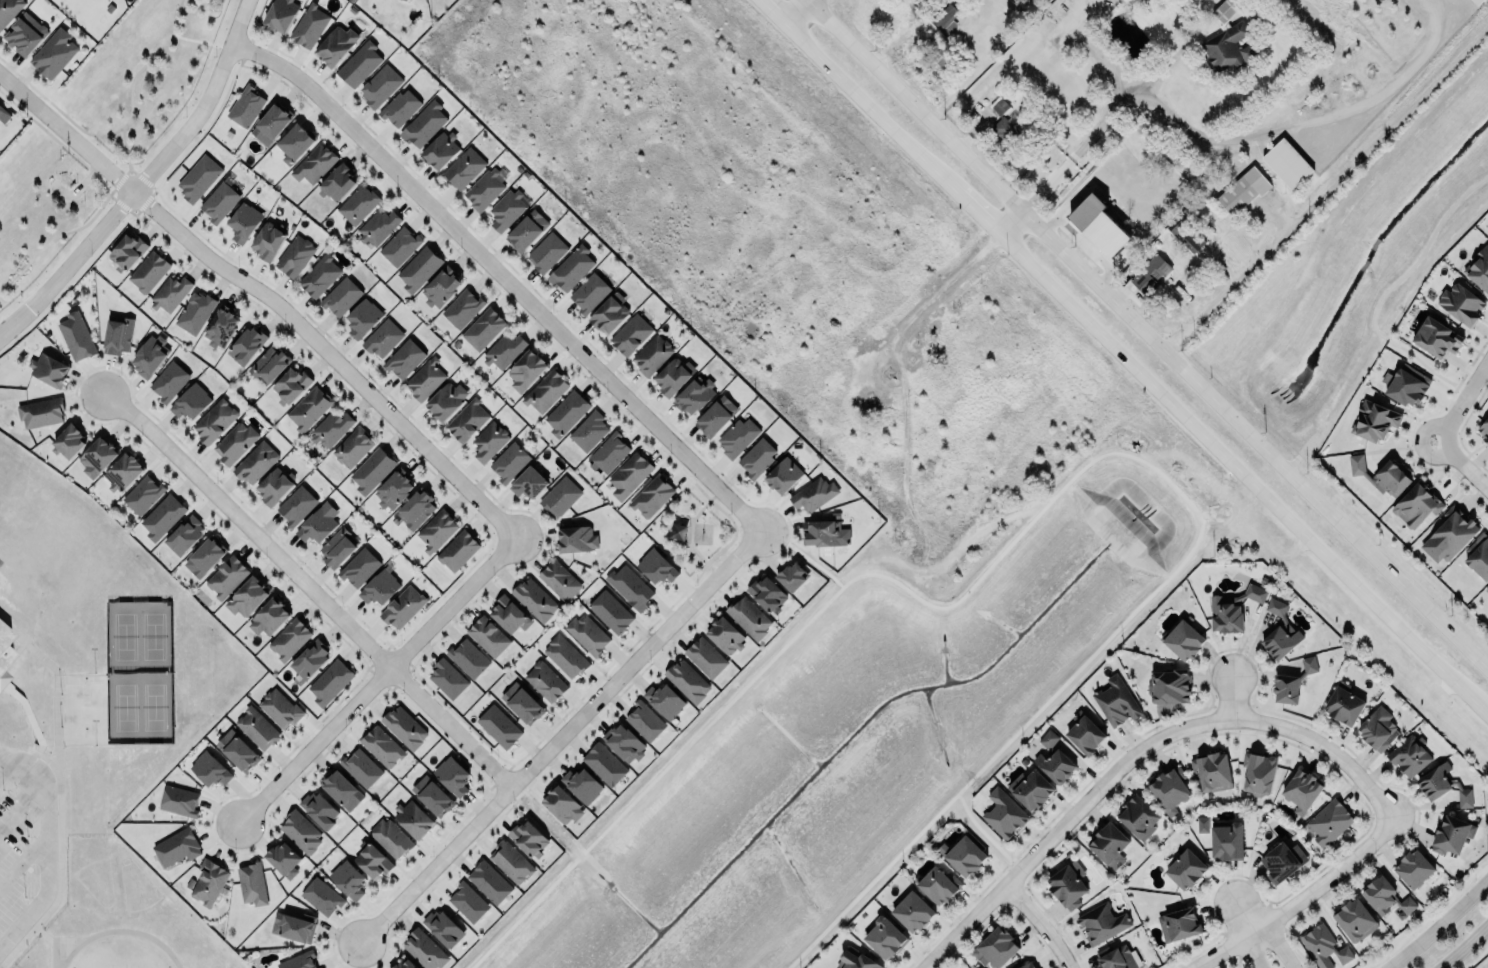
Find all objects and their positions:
building: (1476, 2)
building: (9, 10)
building: (1225, 10)
road: (799, 12)
building: (280, 14)
building: (945, 17)
building: (310, 24)
building: (26, 33)
building: (1224, 45)
building: (337, 46)
road: (1098, 50)
building: (55, 52)
road: (1178, 52)
building: (941, 55)
building: (359, 64)
building: (380, 86)
building: (246, 106)
building: (400, 107)
building: (999, 107)
building: (1, 108)
building: (273, 124)
building: (424, 124)
building: (1007, 131)
building: (296, 142)
road: (1220, 146)
building: (441, 149)
building: (314, 164)
building: (1287, 164)
building: (465, 168)
building: (198, 178)
road: (143, 179)
building: (338, 183)
road: (1324, 187)
building: (485, 189)
building: (1242, 191)
building: (220, 201)
building: (359, 204)
building: (507, 209)
building: (244, 221)
building: (378, 226)
building: (1097, 226)
building: (527, 230)
building: (1187, 236)
building: (268, 240)
building: (399, 246)
building: (128, 251)
building: (547, 252)
building: (295, 256)
building: (420, 268)
building: (572, 268)
building: (1481, 269)
building: (148, 272)
building: (320, 275)
building: (1150, 276)
road: (501, 277)
building: (441, 288)
building: (590, 292)
building: (171, 293)
road: (266, 297)
building: (341, 297)
building: (1462, 304)
building: (462, 308)
building: (196, 312)
building: (610, 312)
building: (363, 318)
building: (221, 328)
building: (484, 328)
building: (119, 334)
building: (632, 334)
road: (1145, 335)
building: (77, 336)
building: (383, 338)
building: (1437, 338)
building: (247, 345)
road: (1109, 350)
building: (504, 351)
building: (653, 355)
building: (150, 356)
building: (404, 359)
building: (269, 365)
building: (49, 368)
building: (527, 369)
building: (675, 375)
building: (425, 378)
building: (170, 381)
building: (1406, 384)
building: (290, 385)
building: (546, 391)
building: (696, 395)
road: (1459, 399)
building: (447, 400)
building: (191, 401)
building: (309, 409)
building: (41, 412)
building: (567, 413)
building: (717, 416)
building: (215, 420)
building: (468, 420)
building: (1375, 421)
building: (1484, 426)
building: (330, 429)
building: (590, 430)
building: (738, 436)
building: (1487, 440)
building: (490, 441)
building: (69, 442)
building: (235, 443)
building: (353, 448)
building: (609, 454)
building: (97, 457)
building: (758, 457)
building: (510, 461)
building: (256, 462)
road: (1459, 466)
building: (373, 470)
building: (122, 472)
building: (630, 475)
building: (784, 475)
building: (1380, 475)
building: (529, 482)
building: (275, 486)
building: (394, 489)
building: (143, 494)
building: (814, 494)
building: (652, 496)
building: (560, 497)
building: (1417, 504)
building: (297, 505)
building: (416, 509)
building: (163, 516)
building: (318, 523)
building: (437, 530)
road: (692, 530)
park: (696, 530)
road: (735, 531)
building: (824, 533)
building: (184, 535)
building: (1449, 536)
building: (577, 539)
building: (338, 547)
building: (459, 550)
building: (1479, 556)
building: (205, 557)
building: (658, 566)
building: (359, 567)
building: (228, 577)
building: (793, 577)
building: (560, 580)
road: (307, 585)
building: (380, 587)
building: (630, 587)
building: (1486, 589)
building: (768, 594)
building: (247, 596)
building: (535, 599)
building: (403, 607)
building: (1276, 607)
building: (1233, 609)
building: (612, 612)
building: (510, 614)
building: (270, 617)
building: (751, 617)
building: (589, 634)
building: (489, 636)
building: (726, 636)
building: (290, 639)
building: (1184, 640)
building: (1281, 640)
building: (4, 653)
building: (567, 656)
building: (707, 657)
building: (469, 658)
building: (310, 661)
road: (376, 679)
building: (447, 679)
building: (330, 681)
building: (545, 681)
building: (687, 681)
building: (1293, 683)
building: (1170, 686)
road: (1232, 697)
building: (1118, 700)
building: (668, 701)
building: (522, 703)
road: (1476, 705)
building: (1344, 706)
building: (279, 708)
building: (645, 722)
building: (500, 726)
building: (404, 727)
building: (257, 728)
building: (1377, 729)
road: (557, 733)
building: (1086, 735)
building: (1049, 739)
building: (624, 743)
building: (383, 746)
building: (238, 750)
road: (1135, 752)
building: (1409, 754)
building: (606, 764)
building: (1057, 766)
building: (361, 768)
building: (210, 770)
building: (1213, 771)
building: (1259, 773)
building: (452, 775)
building: (582, 785)
building: (1031, 788)
building: (341, 790)
building: (1171, 790)
building: (1301, 791)
building: (432, 796)
building: (179, 801)
building: (563, 804)
building: (320, 809)
building: (1004, 814)
building: (1139, 817)
building: (413, 818)
building: (1328, 823)
building: (301, 831)
building: (1451, 834)
building: (391, 837)
building: (529, 838)
building: (1227, 841)
road: (51, 843)
building: (1109, 844)
building: (178, 847)
building: (964, 856)
building: (284, 859)
building: (373, 861)
building: (1283, 861)
building: (510, 862)
building: (1186, 869)
building: (1414, 869)
building: (347, 880)
building: (209, 882)
building: (490, 882)
road: (1222, 882)
building: (253, 884)
building: (939, 885)
building: (1069, 886)
building: (322, 896)
building: (1387, 898)
road: (1302, 901)
building: (469, 902)
building: (914, 912)
building: (1355, 920)
road: (1041, 923)
building: (1104, 923)
building: (1179, 925)
road: (1440, 925)
building: (295, 927)
building: (444, 928)
building: (885, 937)
road: (1281, 947)
building: (1325, 947)
building: (995, 948)
road: (1466, 948)
building: (425, 950)
road: (1252, 955)
building: (1119, 958)
building: (299, 960)
building: (856, 960)
building: (406, 964)
building: (1027, 965)

